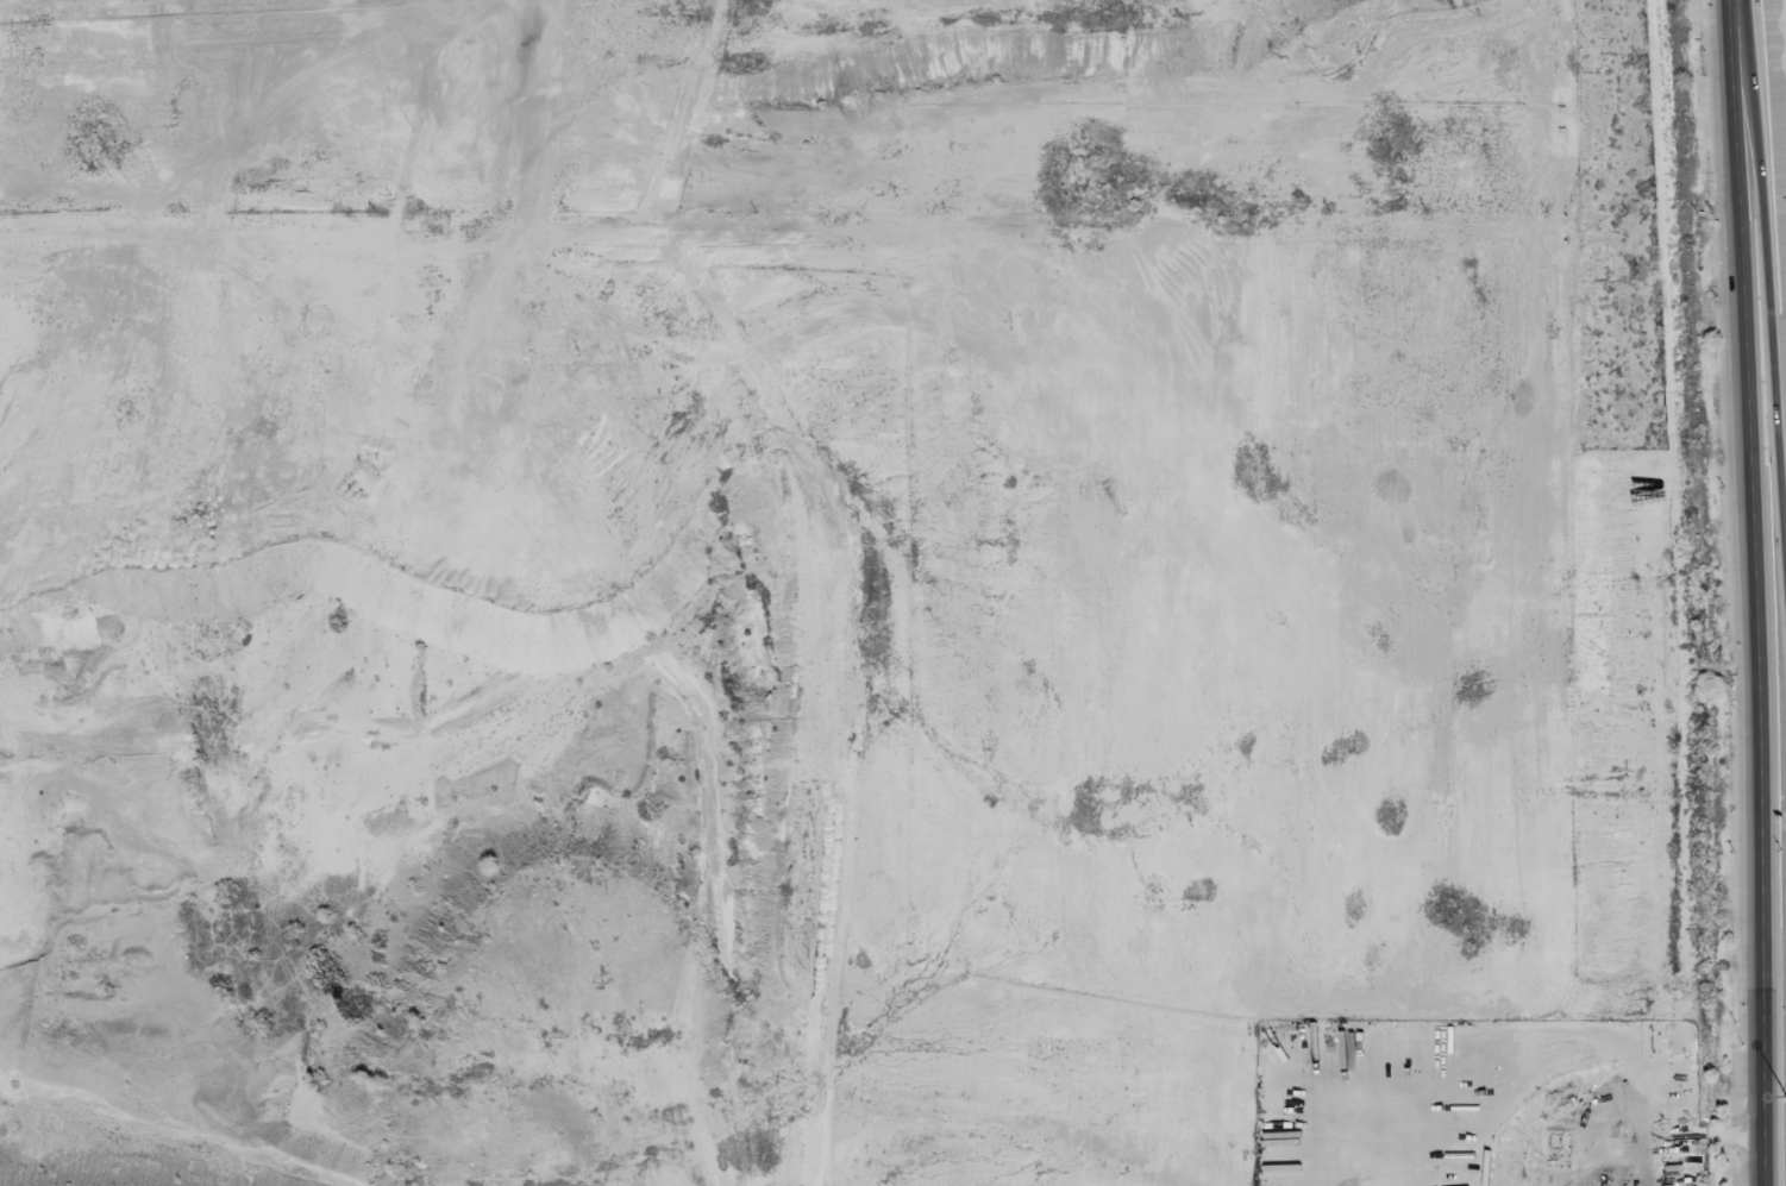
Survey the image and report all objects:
road: (1773, 238)
road: (1759, 592)

